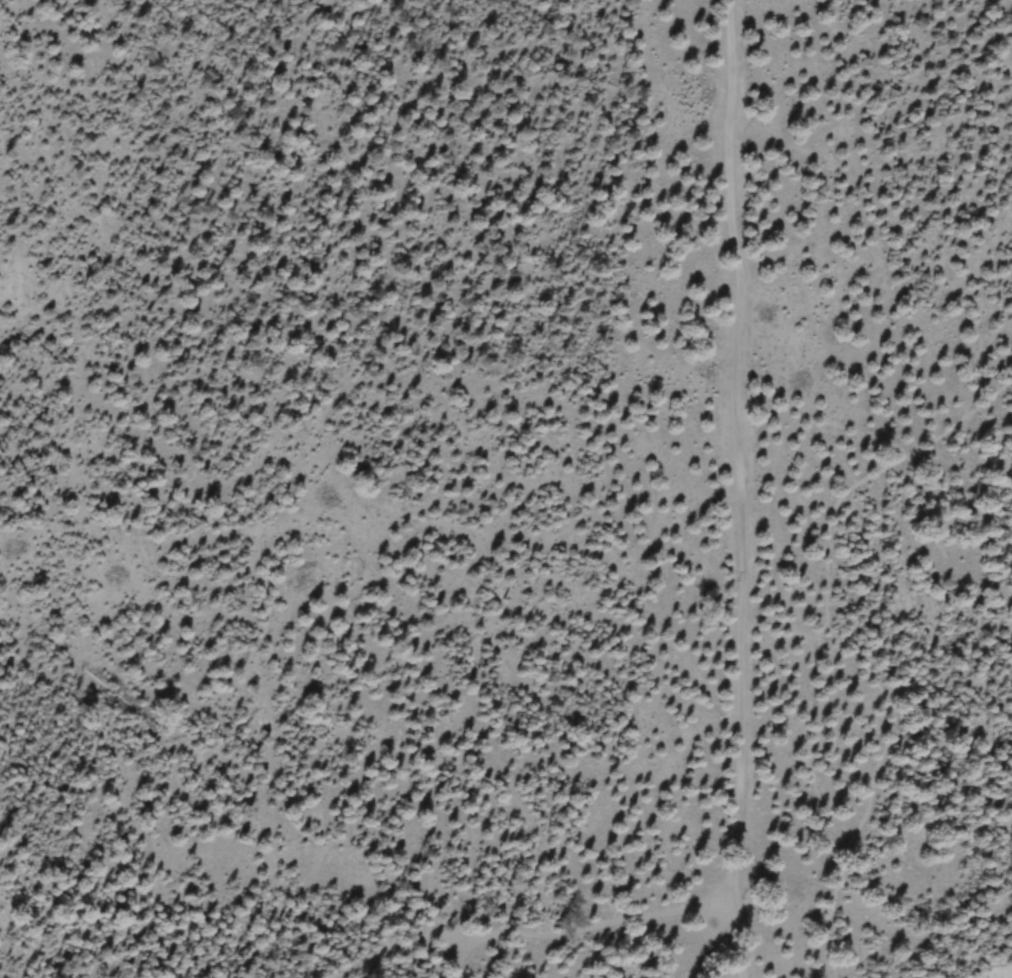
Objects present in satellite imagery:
road: (738, 489)
road: (841, 649)

